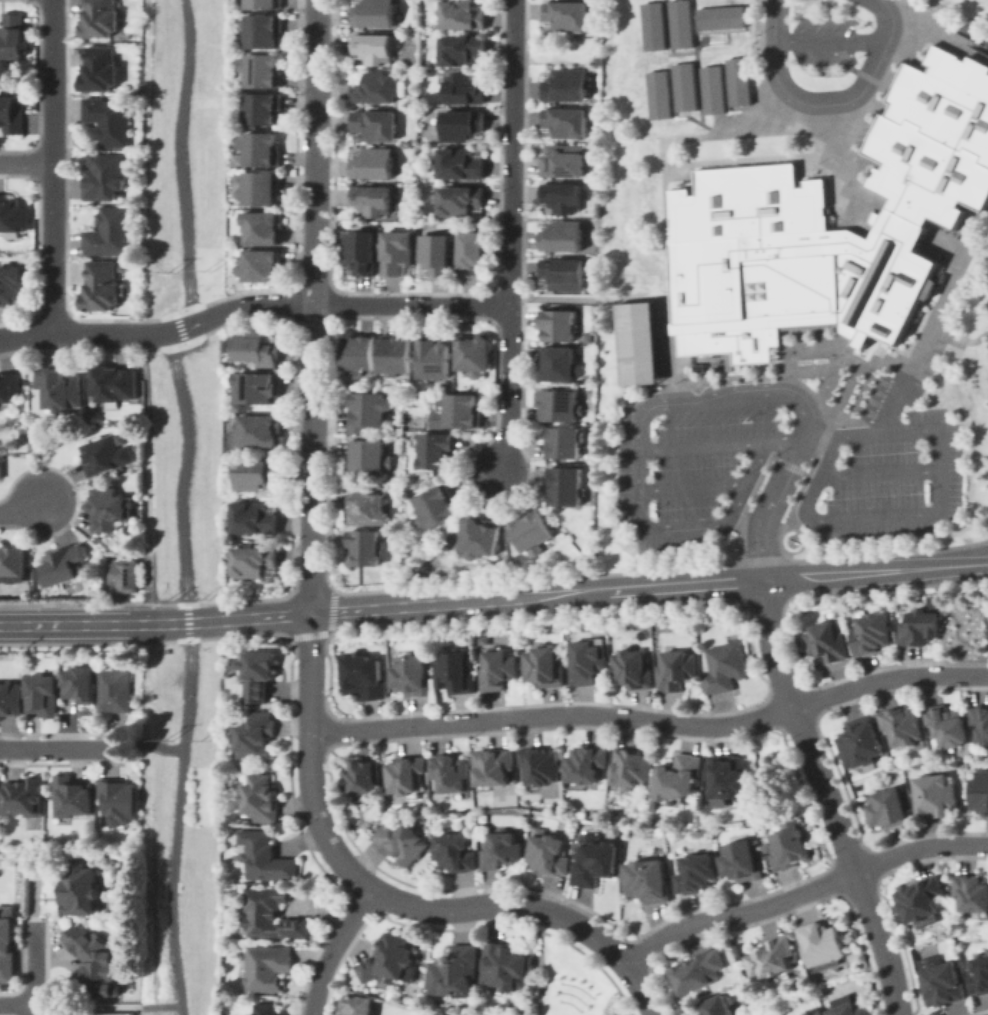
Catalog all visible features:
building: (265, 2)
building: (370, 9)
road: (922, 9)
building: (460, 11)
building: (564, 12)
building: (98, 16)
building: (719, 16)
building: (681, 23)
building: (651, 24)
building: (263, 26)
road: (965, 28)
building: (14, 36)
road: (779, 39)
parking lot: (824, 39)
road: (832, 41)
building: (371, 43)
building: (459, 43)
road: (696, 48)
road: (606, 62)
building: (261, 65)
building: (103, 67)
building: (564, 80)
building: (736, 80)
building: (373, 84)
building: (461, 84)
building: (683, 86)
building: (710, 88)
road: (861, 88)
building: (657, 94)
building: (263, 103)
road: (729, 111)
building: (13, 113)
building: (564, 116)
road: (685, 116)
building: (461, 119)
building: (110, 120)
building: (372, 120)
road: (766, 121)
building: (261, 144)
park: (180, 152)
building: (561, 156)
road: (830, 158)
building: (370, 159)
road: (25, 161)
building: (457, 161)
road: (51, 165)
road: (144, 165)
building: (107, 176)
building: (260, 183)
building: (560, 191)
building: (369, 196)
building: (458, 196)
building: (745, 203)
building: (825, 210)
building: (14, 215)
building: (871, 216)
road: (664, 219)
building: (263, 223)
building: (112, 232)
building: (560, 233)
road: (512, 236)
building: (357, 246)
building: (395, 248)
building: (474, 248)
building: (434, 249)
building: (259, 267)
building: (561, 269)
building: (105, 285)
building: (13, 286)
building: (927, 287)
road: (944, 293)
road: (590, 298)
road: (253, 302)
building: (557, 321)
building: (807, 325)
building: (673, 327)
building: (845, 336)
road: (958, 339)
park: (643, 340)
building: (635, 344)
building: (258, 345)
road: (866, 349)
building: (356, 350)
building: (470, 350)
building: (393, 351)
road: (838, 352)
building: (431, 354)
building: (557, 359)
building: (728, 360)
building: (696, 366)
road: (830, 371)
road: (713, 376)
road: (786, 380)
road: (862, 383)
building: (11, 385)
building: (117, 385)
building: (63, 387)
building: (259, 387)
road: (858, 394)
road: (855, 399)
parking lot: (871, 399)
building: (557, 401)
road: (852, 404)
building: (457, 405)
road: (891, 405)
road: (655, 407)
building: (366, 411)
road: (823, 417)
building: (261, 430)
road: (973, 435)
road: (819, 436)
building: (562, 438)
road: (705, 445)
building: (433, 448)
road: (311, 454)
building: (110, 455)
parking lot: (703, 455)
building: (367, 456)
road: (812, 461)
building: (1, 465)
road: (788, 465)
road: (636, 466)
park: (180, 470)
parking lot: (886, 470)
road: (877, 473)
building: (261, 475)
road: (149, 477)
building: (563, 481)
road: (751, 492)
road: (773, 493)
road: (182, 497)
building: (436, 506)
road: (22, 509)
building: (111, 510)
building: (367, 510)
road: (917, 512)
building: (257, 518)
building: (529, 529)
building: (485, 537)
road: (742, 537)
building: (366, 547)
road: (888, 552)
road: (761, 558)
building: (250, 560)
building: (14, 562)
building: (62, 565)
road: (664, 568)
building: (128, 575)
road: (571, 593)
road: (982, 593)
road: (77, 624)
building: (919, 624)
building: (870, 630)
building: (825, 639)
building: (584, 658)
building: (545, 665)
building: (723, 665)
building: (630, 666)
building: (675, 667)
building: (500, 669)
building: (455, 671)
building: (259, 672)
building: (413, 672)
building: (366, 676)
building: (80, 685)
building: (116, 691)
building: (42, 696)
building: (10, 700)
building: (980, 718)
road: (652, 720)
building: (900, 722)
building: (945, 722)
building: (258, 735)
building: (858, 740)
road: (150, 743)
road: (58, 748)
building: (543, 764)
building: (589, 764)
building: (637, 766)
building: (493, 767)
building: (408, 774)
building: (451, 774)
building: (679, 774)
building: (729, 774)
building: (365, 777)
building: (979, 789)
building: (934, 793)
building: (25, 796)
building: (72, 797)
building: (260, 797)
road: (829, 797)
building: (122, 801)
building: (886, 807)
park: (179, 826)
building: (405, 841)
building: (789, 845)
building: (504, 851)
building: (455, 853)
building: (551, 853)
building: (266, 858)
building: (740, 859)
building: (597, 865)
building: (700, 873)
building: (648, 881)
building: (81, 888)
building: (970, 889)
road: (802, 892)
building: (919, 896)
road: (535, 904)
building: (271, 914)
building: (819, 941)
building: (5, 942)
road: (335, 948)
building: (390, 957)
building: (777, 957)
building: (99, 964)
road: (36, 965)
building: (269, 967)
building: (505, 967)
building: (458, 971)
building: (698, 971)
building: (979, 973)
park: (567, 982)
building: (941, 983)
building: (355, 1005)
road: (161, 1006)
building: (722, 1006)
road: (18, 1007)
road: (87, 1007)
building: (268, 1009)
road: (639, 1009)
building: (852, 1009)
road: (36, 1011)
park: (447, 1012)
building: (813, 1012)

